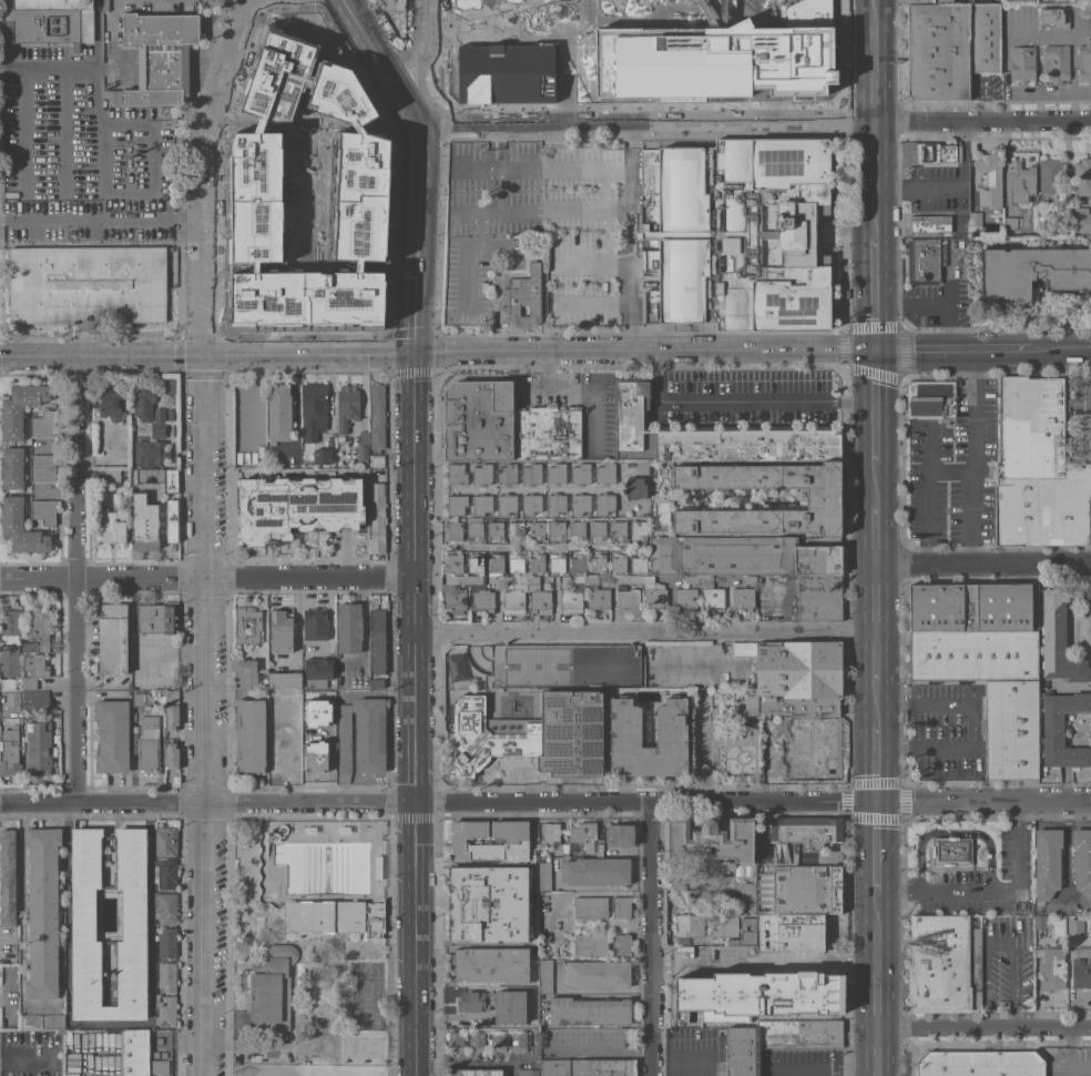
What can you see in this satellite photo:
road: (262, 0)
building: (463, 0)
building: (1023, 0)
building: (917, 1)
building: (945, 1)
building: (392, 4)
road: (431, 4)
road: (568, 4)
building: (1053, 18)
building: (42, 20)
road: (1039, 34)
road: (416, 45)
building: (950, 48)
building: (159, 57)
building: (712, 60)
road: (877, 60)
building: (1084, 60)
building: (1021, 63)
building: (1056, 64)
road: (435, 71)
building: (504, 73)
road: (95, 74)
road: (1038, 78)
building: (105, 93)
road: (983, 121)
road: (646, 123)
building: (906, 153)
building: (935, 153)
road: (877, 159)
road: (206, 168)
building: (1050, 174)
building: (1082, 176)
building: (988, 177)
building: (1021, 181)
road: (951, 184)
road: (563, 213)
building: (1067, 213)
road: (486, 214)
road: (877, 217)
road: (103, 219)
building: (975, 219)
building: (1082, 220)
parking lot: (567, 221)
building: (1010, 223)
building: (929, 224)
building: (736, 233)
road: (631, 237)
building: (954, 240)
building: (926, 260)
building: (1031, 272)
building: (516, 273)
building: (88, 284)
road: (878, 294)
road: (916, 296)
building: (522, 297)
road: (954, 298)
building: (929, 321)
road: (983, 348)
traffic signals: (878, 351)
road: (438, 353)
traffic signals: (205, 354)
traffic signals: (417, 354)
building: (171, 385)
road: (581, 388)
parking lot: (738, 399)
building: (930, 399)
road: (745, 400)
building: (111, 403)
building: (347, 406)
parking lot: (578, 406)
building: (21, 407)
building: (246, 407)
road: (878, 407)
building: (149, 410)
building: (314, 412)
building: (278, 413)
building: (170, 414)
building: (377, 416)
building: (478, 420)
building: (43, 424)
building: (1082, 432)
building: (547, 433)
building: (714, 436)
building: (363, 447)
building: (242, 449)
road: (927, 449)
building: (149, 453)
building: (259, 453)
building: (319, 455)
road: (976, 456)
building: (377, 460)
building: (42, 467)
building: (642, 467)
building: (12, 468)
building: (1037, 468)
road: (951, 470)
parking lot: (956, 470)
building: (604, 471)
building: (99, 473)
building: (555, 473)
building: (580, 473)
building: (457, 474)
building: (482, 474)
building: (507, 474)
building: (531, 474)
building: (112, 475)
building: (150, 475)
building: (171, 480)
road: (878, 484)
building: (638, 487)
road: (514, 488)
building: (823, 498)
building: (481, 504)
building: (507, 504)
building: (531, 504)
building: (555, 504)
building: (580, 504)
building: (604, 504)
building: (457, 505)
building: (297, 507)
building: (43, 511)
building: (377, 512)
road: (927, 516)
building: (172, 521)
building: (144, 522)
building: (113, 525)
building: (21, 527)
road: (416, 528)
building: (475, 529)
building: (496, 529)
building: (578, 529)
building: (598, 529)
building: (452, 530)
building: (517, 530)
building: (537, 530)
building: (557, 530)
building: (619, 530)
building: (639, 531)
road: (878, 534)
building: (795, 537)
road: (983, 561)
building: (452, 562)
building: (517, 562)
building: (537, 562)
building: (558, 562)
building: (599, 562)
building: (619, 562)
building: (639, 562)
building: (476, 564)
building: (494, 564)
building: (578, 564)
building: (758, 566)
road: (207, 576)
road: (78, 578)
building: (584, 579)
building: (651, 590)
building: (457, 592)
building: (711, 592)
building: (744, 592)
building: (686, 593)
building: (516, 596)
building: (538, 597)
road: (878, 597)
building: (1088, 597)
building: (599, 598)
building: (481, 599)
building: (628, 599)
building: (571, 600)
building: (970, 607)
building: (156, 617)
building: (315, 623)
building: (10, 626)
building: (256, 626)
building: (349, 627)
building: (281, 630)
building: (38, 631)
road: (646, 631)
building: (113, 638)
building: (377, 639)
building: (1058, 639)
road: (473, 653)
building: (972, 656)
road: (878, 657)
building: (9, 660)
building: (34, 670)
building: (317, 672)
building: (246, 673)
building: (263, 676)
building: (798, 678)
building: (285, 679)
building: (7, 683)
building: (377, 683)
building: (494, 691)
building: (288, 698)
building: (141, 699)
building: (162, 699)
building: (34, 700)
building: (10, 703)
road: (878, 703)
building: (172, 709)
building: (315, 712)
road: (201, 714)
road: (975, 721)
building: (671, 727)
building: (1062, 728)
building: (1010, 729)
parking lot: (947, 730)
building: (531, 734)
building: (112, 735)
building: (251, 735)
building: (361, 737)
building: (147, 741)
building: (38, 748)
building: (798, 749)
building: (9, 751)
building: (282, 752)
building: (314, 754)
building: (172, 755)
road: (878, 762)
road: (544, 800)
traffic signals: (878, 800)
building: (806, 831)
road: (958, 832)
building: (550, 833)
building: (620, 835)
building: (587, 839)
building: (517, 840)
building: (166, 841)
road: (878, 845)
building: (565, 849)
building: (951, 851)
building: (1082, 861)
building: (1047, 863)
building: (527, 867)
building: (595, 871)
building: (165, 873)
building: (544, 875)
building: (8, 876)
building: (475, 881)
building: (732, 881)
road: (996, 892)
road: (602, 894)
building: (796, 905)
building: (590, 906)
building: (622, 906)
building: (165, 907)
building: (43, 913)
building: (83, 914)
building: (333, 916)
building: (473, 922)
building: (1050, 923)
road: (283, 925)
building: (689, 925)
building: (1075, 925)
building: (511, 931)
road: (653, 937)
building: (167, 943)
building: (591, 944)
building: (622, 944)
road: (302, 946)
park: (312, 947)
road: (766, 963)
building: (491, 964)
building: (945, 964)
building: (1052, 968)
building: (1081, 968)
building: (598, 974)
building: (167, 975)
building: (545, 976)
road: (879, 983)
building: (269, 988)
road: (597, 992)
building: (761, 993)
park: (369, 996)
building: (496, 1004)
building: (165, 1011)
building: (589, 1011)
building: (42, 1021)
road: (295, 1023)
road: (985, 1029)
road: (245, 1037)
building: (519, 1041)
building: (775, 1041)
building: (456, 1042)
building: (477, 1042)
building: (498, 1042)
building: (532, 1044)
park: (366, 1046)
road: (602, 1047)
building: (139, 1055)
road: (1071, 1058)
road: (27, 1059)
building: (980, 1063)
road: (468, 1064)
building: (587, 1067)
road: (766, 1068)
building: (475, 1073)
building: (528, 1073)
park: (318, 1075)

